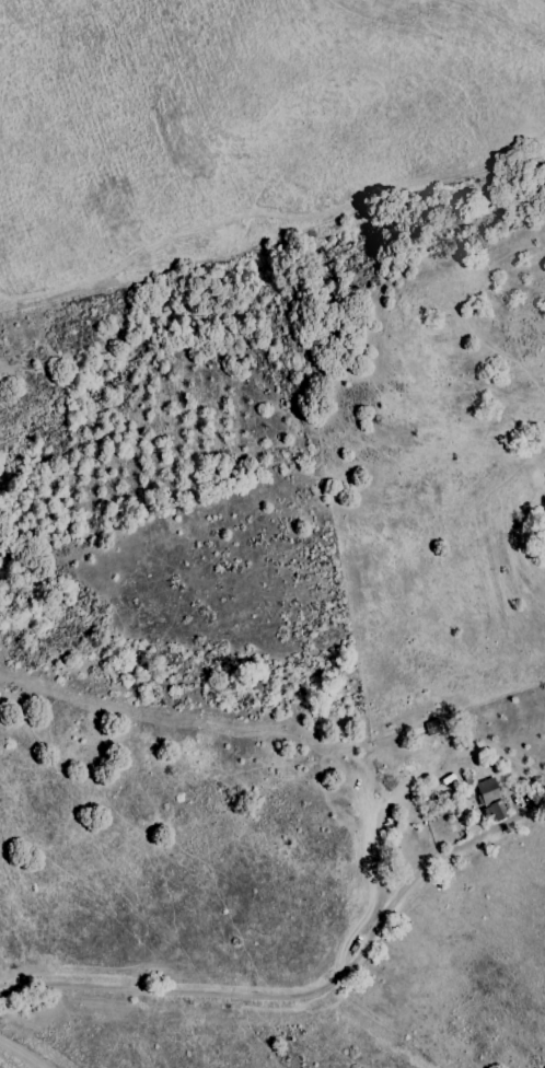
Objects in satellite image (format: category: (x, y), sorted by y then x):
building: (543, 526)
building: (490, 798)
road: (309, 995)
road: (19, 1055)

